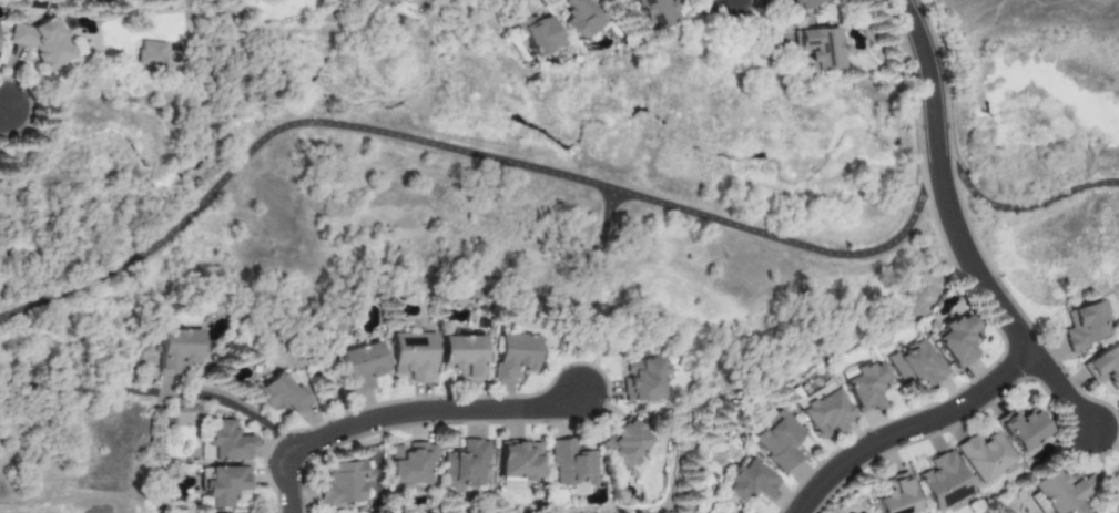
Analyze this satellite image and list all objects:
building: (779, 0)
building: (390, 1)
building: (378, 2)
building: (804, 3)
building: (655, 12)
building: (580, 17)
building: (536, 34)
building: (44, 41)
building: (818, 48)
building: (150, 53)
road: (932, 79)
road: (4, 111)
road: (567, 178)
road: (970, 266)
building: (1081, 326)
building: (953, 341)
building: (176, 347)
building: (513, 353)
building: (414, 355)
building: (461, 355)
building: (360, 365)
building: (913, 365)
building: (1103, 367)
building: (643, 380)
building: (866, 387)
road: (84, 392)
road: (1062, 392)
building: (281, 393)
road: (234, 407)
building: (825, 412)
road: (406, 417)
road: (913, 430)
building: (1020, 430)
building: (780, 440)
building: (226, 441)
building: (628, 447)
building: (983, 456)
building: (409, 461)
building: (518, 463)
building: (467, 465)
building: (572, 466)
building: (940, 481)
building: (750, 483)
building: (223, 484)
building: (345, 485)
building: (1055, 492)
building: (894, 496)

